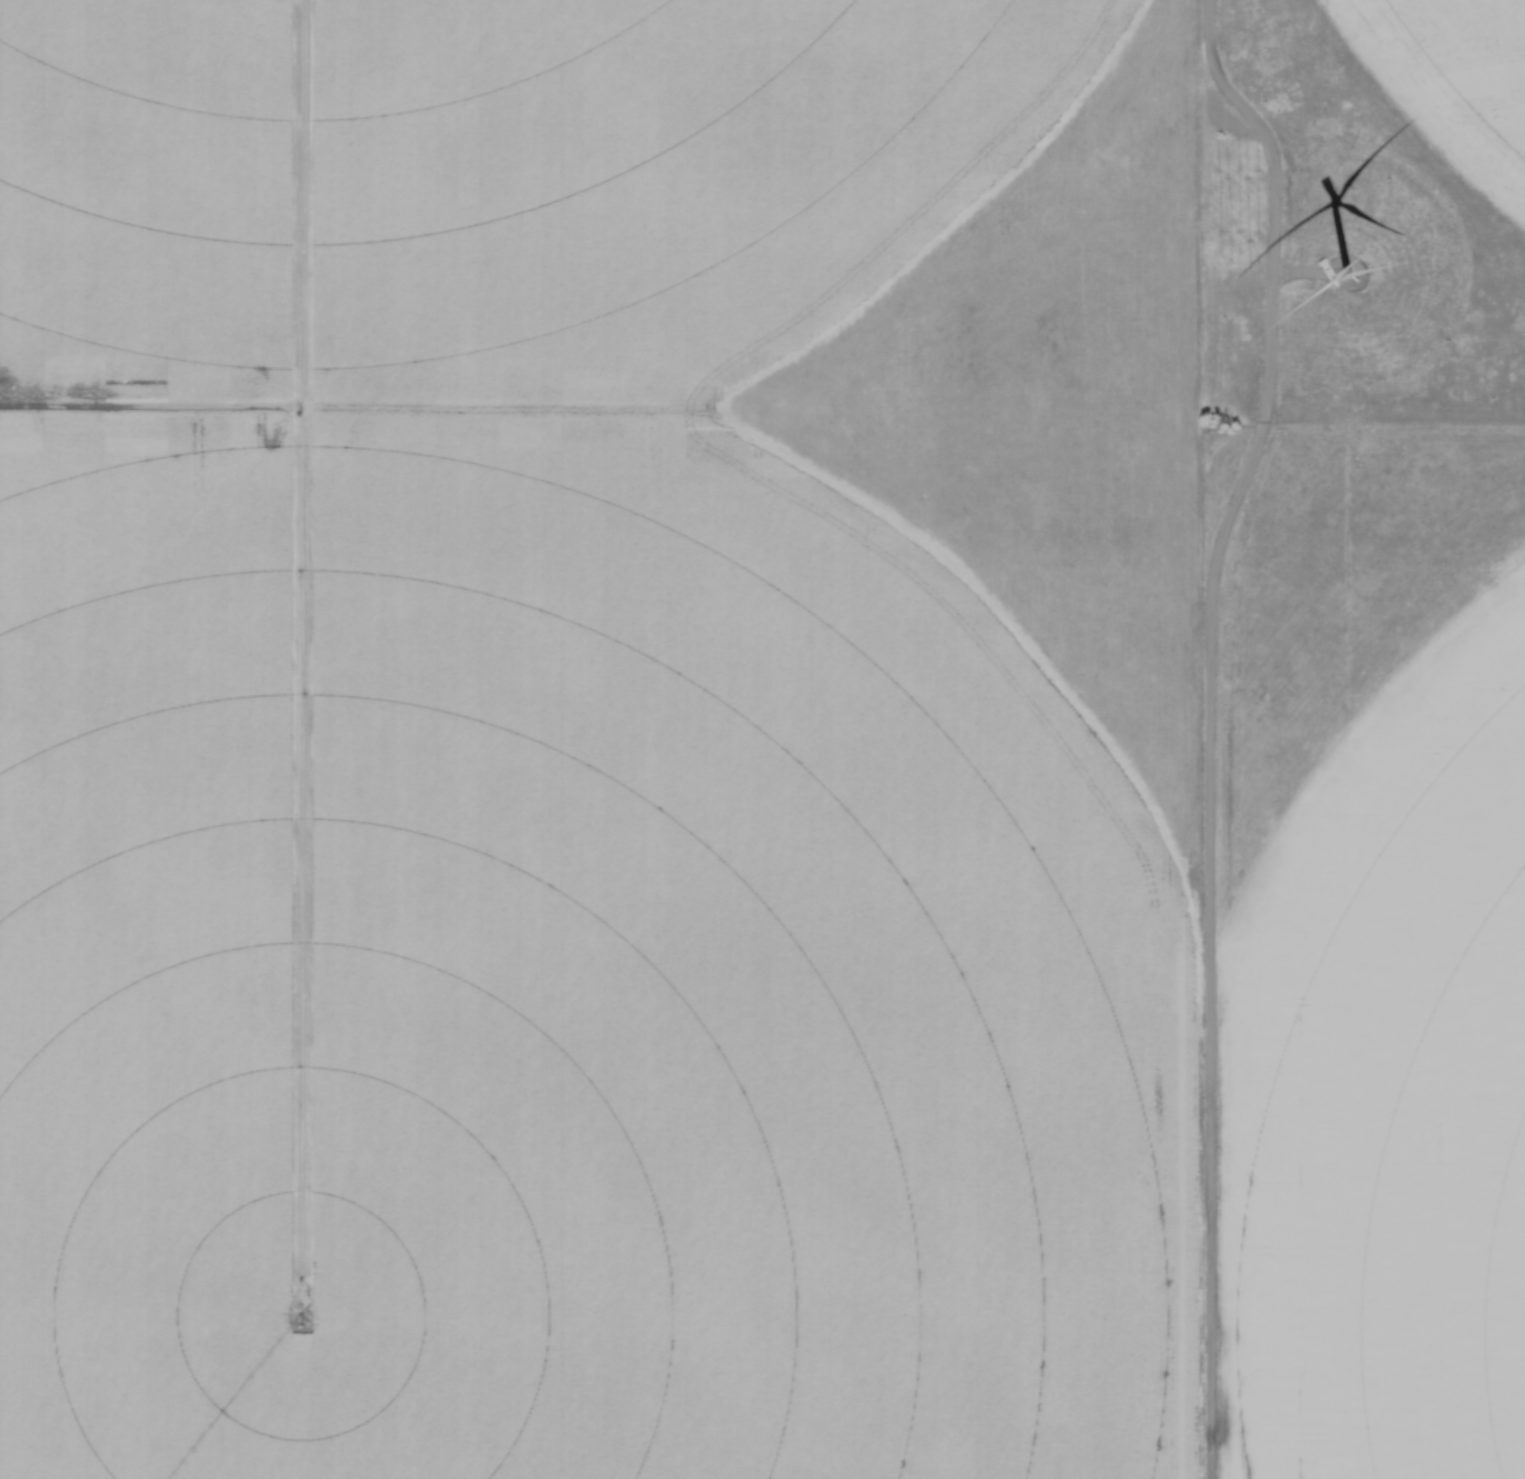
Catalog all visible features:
wind turbine: (1354, 278)
road: (1210, 724)

